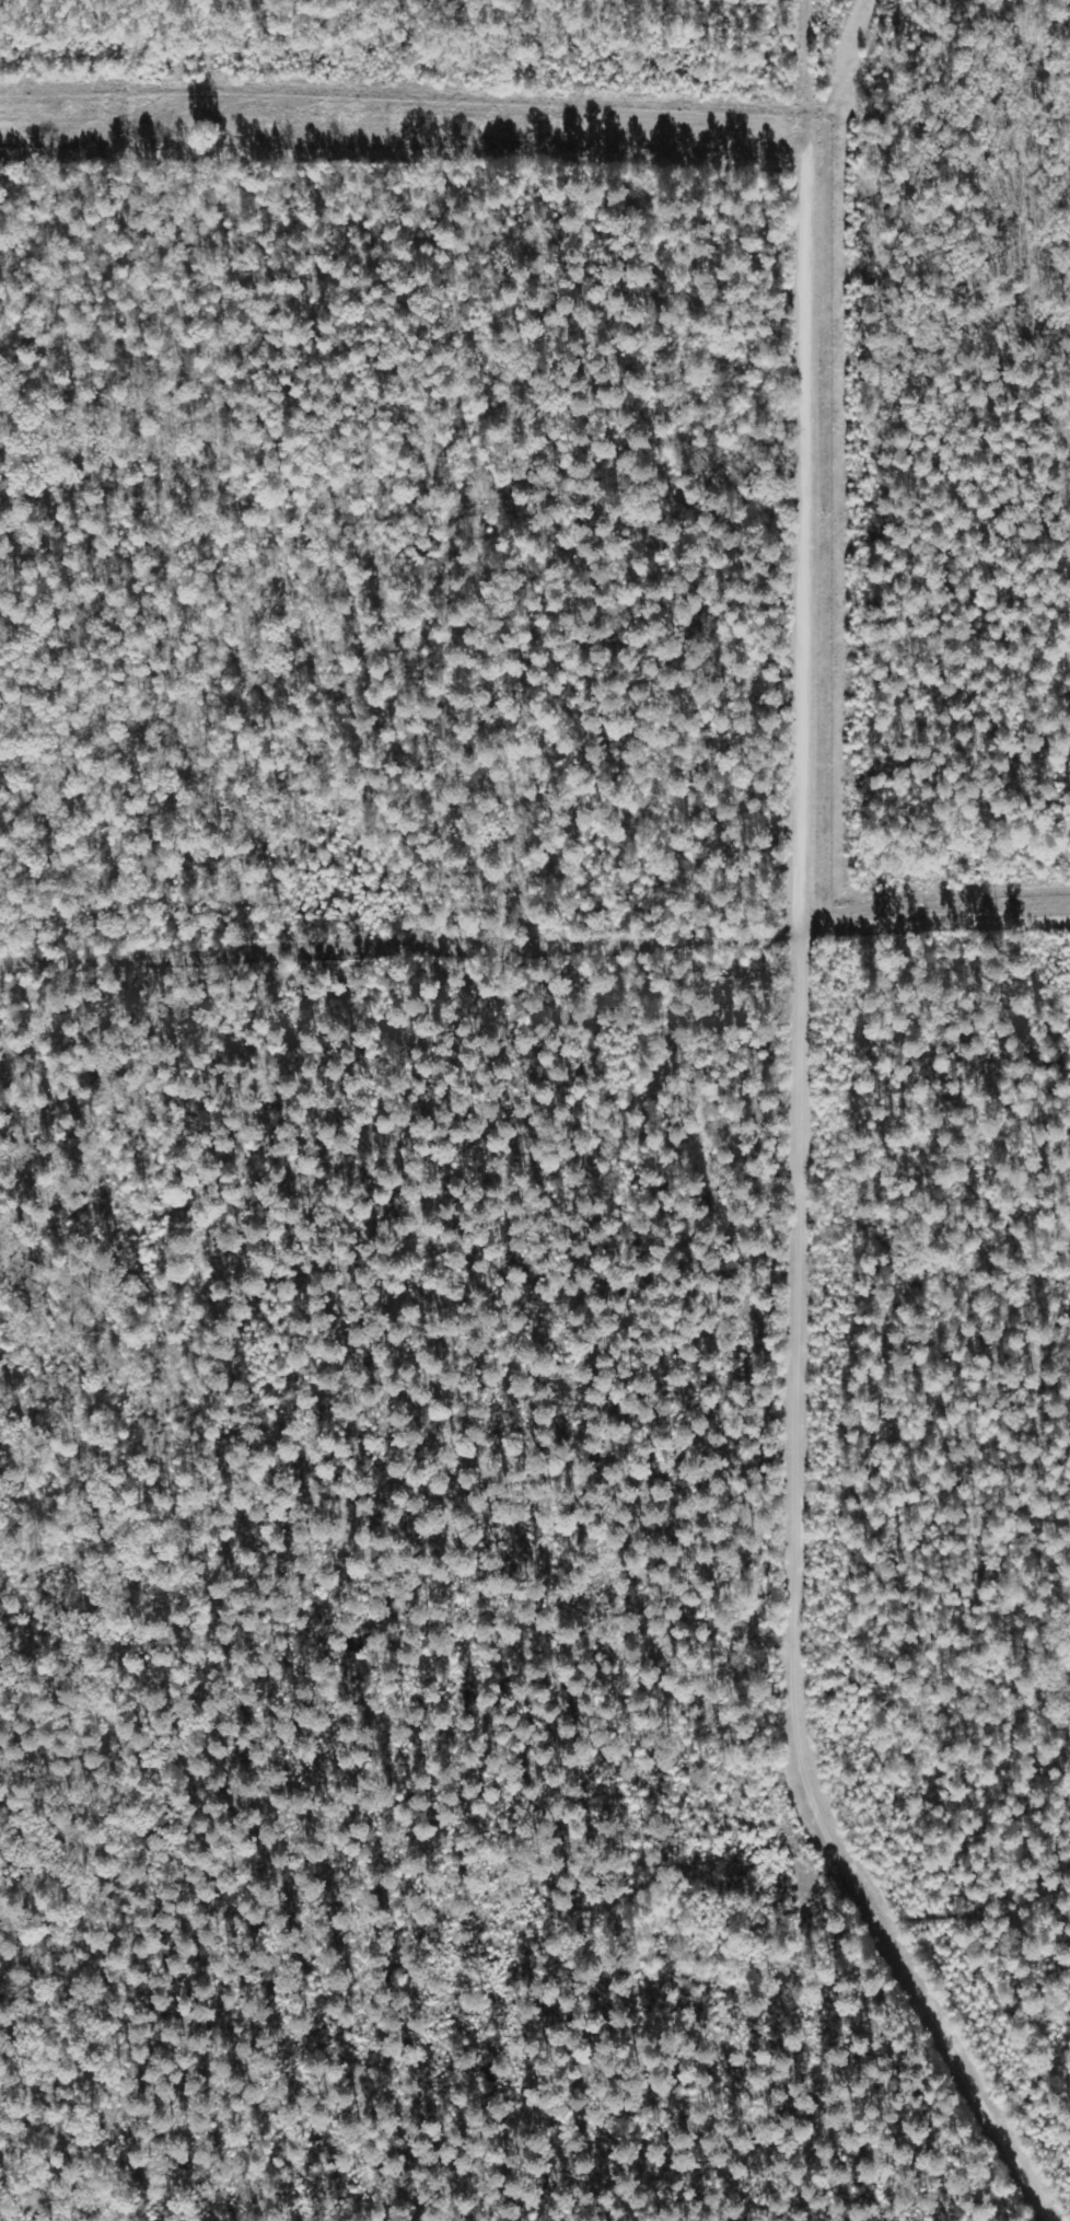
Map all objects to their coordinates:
road: (535, 914)
road: (834, 1115)

